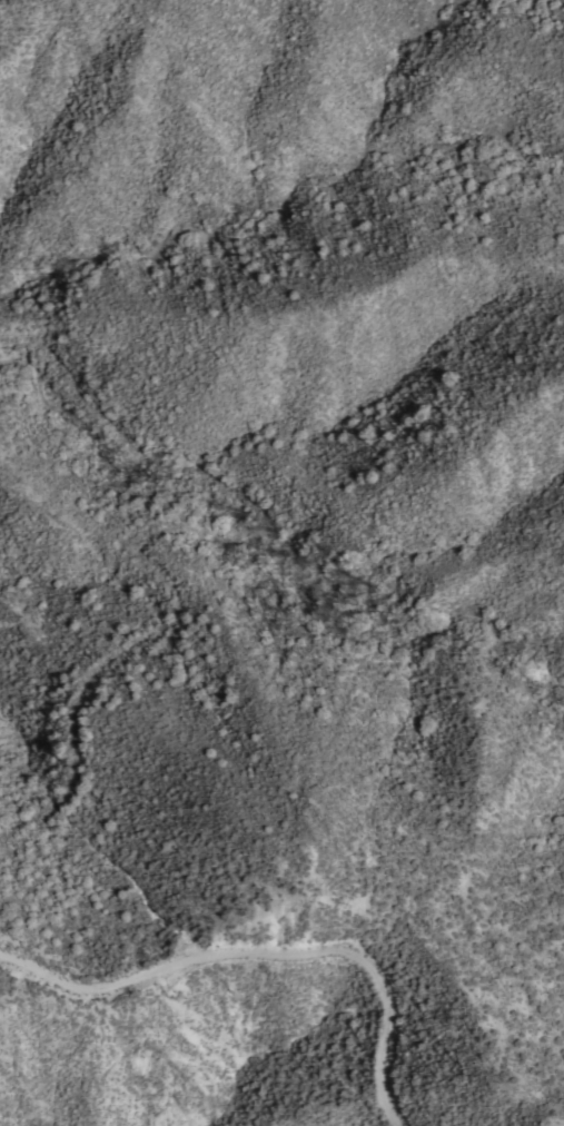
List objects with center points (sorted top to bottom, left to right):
road: (263, 957)

